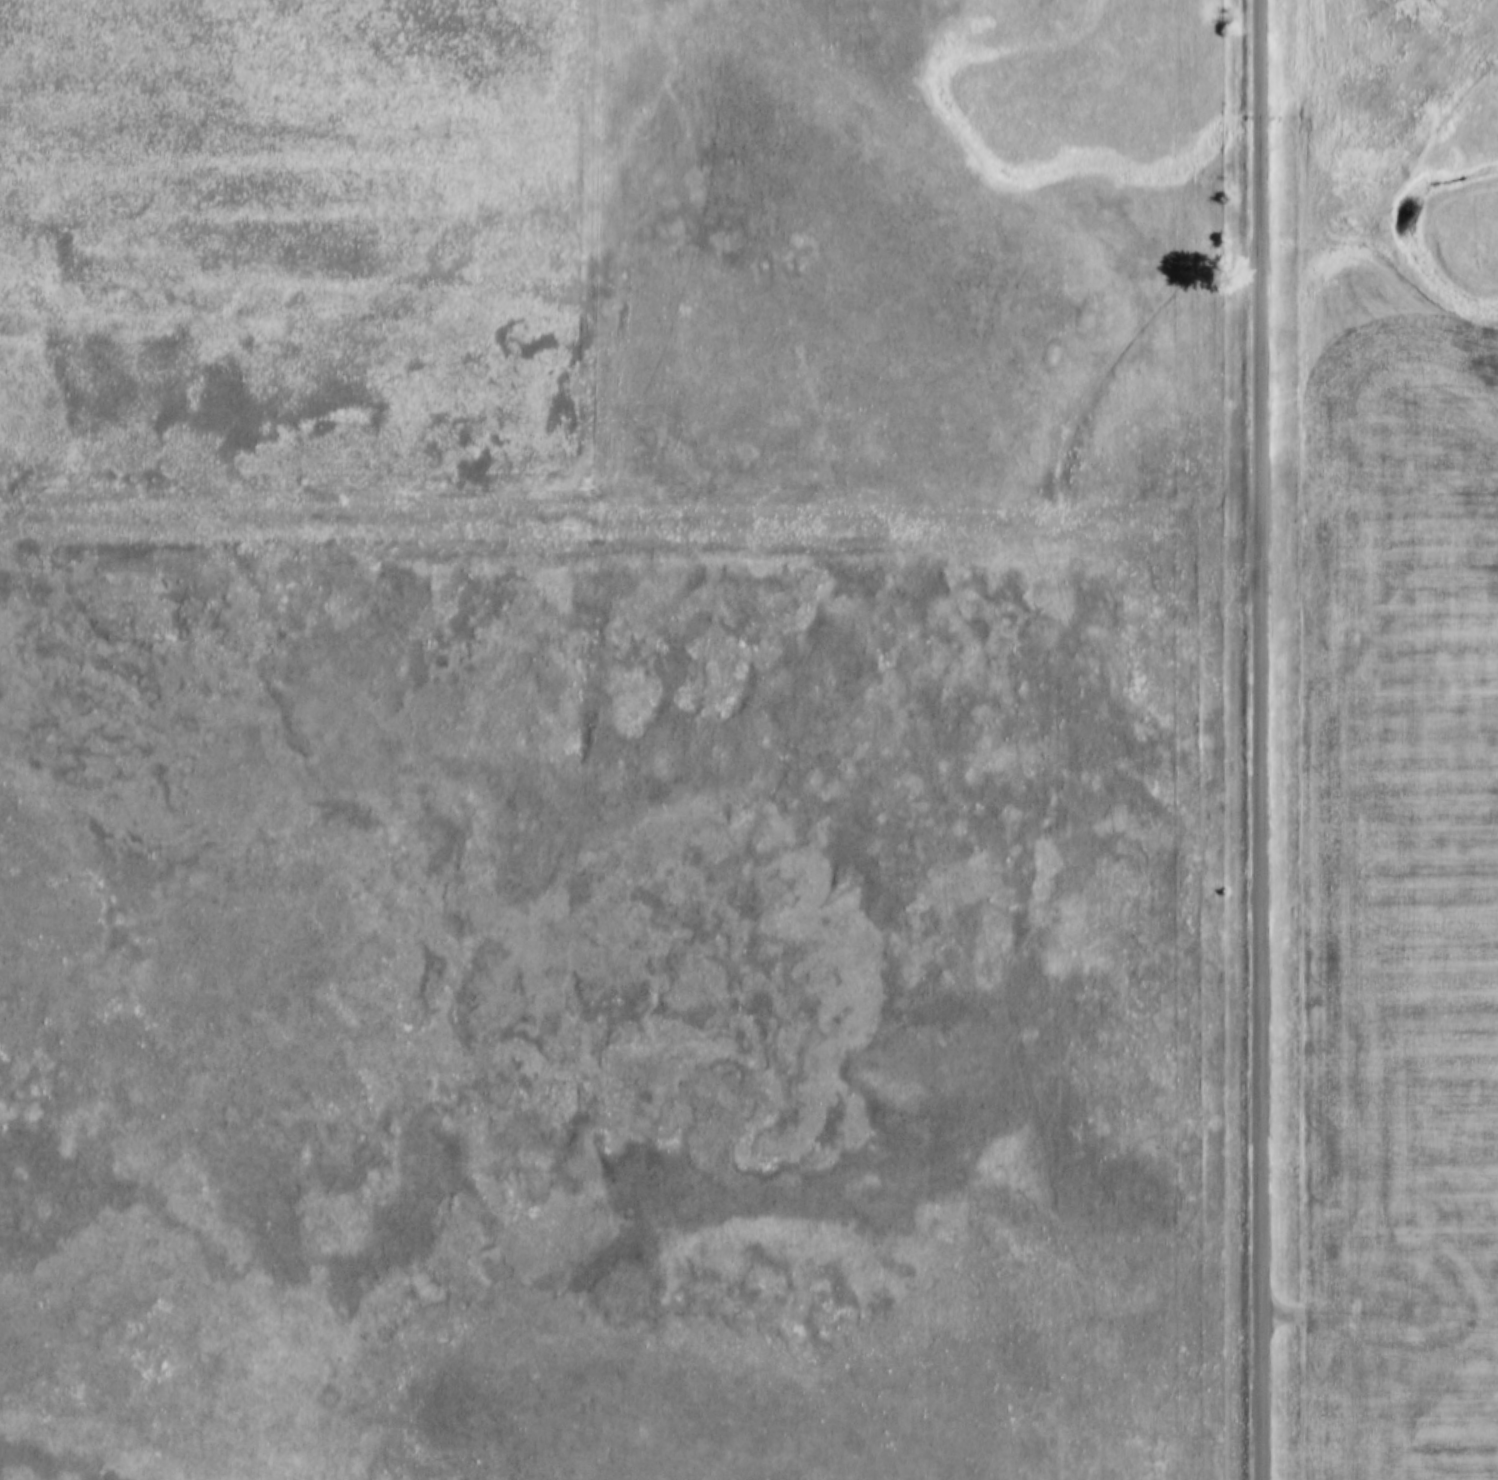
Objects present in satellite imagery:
road: (1261, 739)

